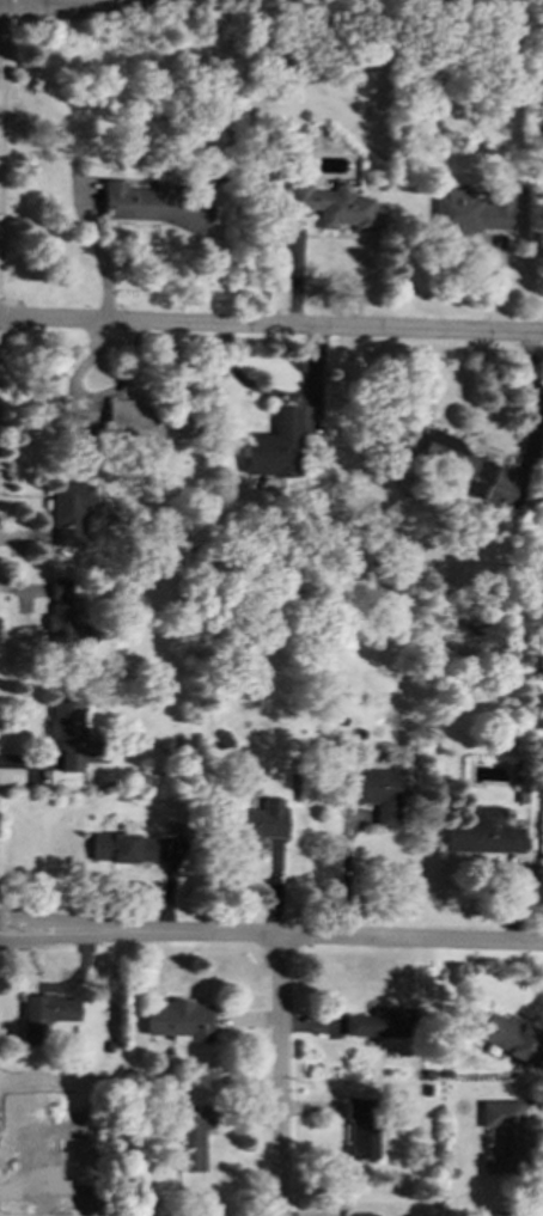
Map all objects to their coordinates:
road: (59, 0)
road: (87, 2)
road: (2, 97)
building: (154, 206)
building: (331, 206)
building: (471, 212)
road: (104, 252)
road: (270, 324)
road: (541, 411)
building: (145, 420)
building: (274, 445)
building: (457, 464)
building: (68, 509)
building: (66, 617)
building: (69, 734)
building: (379, 794)
building: (258, 821)
building: (483, 832)
building: (120, 848)
road: (48, 918)
road: (319, 934)
road: (48, 939)
building: (44, 1016)
building: (177, 1020)
building: (380, 1022)
building: (508, 1037)
road: (279, 1075)
building: (360, 1128)
building: (191, 1136)
building: (504, 1137)
building: (508, 1214)
building: (359, 1215)

